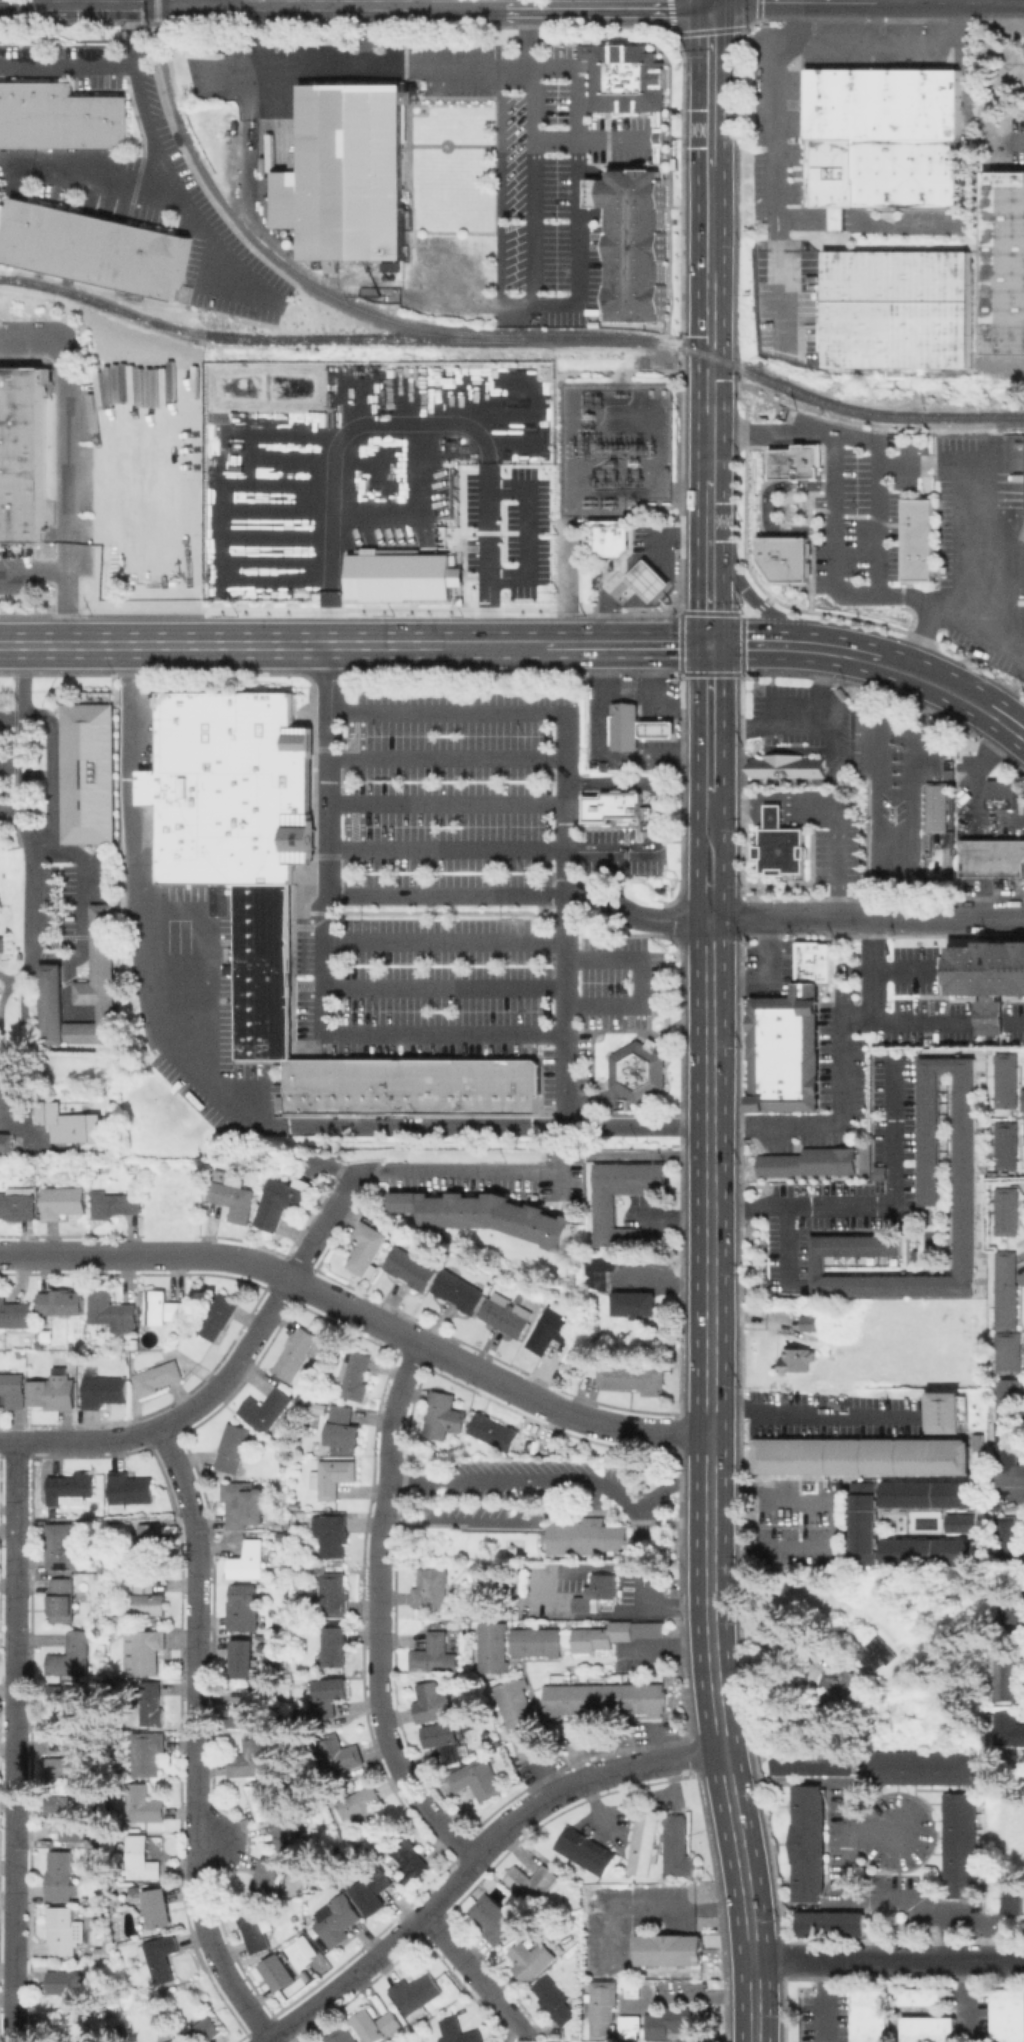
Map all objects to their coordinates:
road: (710, 1)
road: (711, 1)
road: (882, 1)
road: (70, 2)
road: (204, 2)
road: (442, 2)
road: (523, 2)
road: (832, 2)
traffic signals: (711, 3)
road: (989, 3)
road: (355, 4)
road: (367, 35)
road: (887, 42)
road: (66, 62)
road: (366, 66)
building: (627, 79)
road: (711, 84)
building: (59, 116)
road: (1021, 134)
road: (587, 137)
building: (883, 138)
road: (778, 166)
building: (349, 175)
road: (579, 184)
road: (172, 185)
building: (596, 195)
road: (532, 198)
road: (710, 217)
building: (639, 243)
railway: (262, 247)
building: (93, 248)
building: (1005, 264)
building: (389, 267)
building: (897, 308)
railway: (351, 339)
road: (709, 340)
road: (128, 346)
railway: (924, 372)
railway: (949, 386)
railway: (862, 410)
road: (71, 423)
railway: (1015, 426)
road: (406, 438)
building: (894, 440)
road: (709, 446)
power substation: (614, 450)
building: (22, 454)
building: (792, 460)
road: (930, 465)
road: (765, 508)
road: (709, 511)
road: (882, 531)
road: (524, 534)
building: (611, 536)
building: (918, 540)
road: (980, 541)
building: (783, 559)
road: (633, 563)
road: (71, 570)
building: (402, 578)
building: (649, 579)
gas station: (649, 579)
road: (568, 585)
road: (709, 593)
road: (749, 595)
road: (928, 608)
road: (977, 635)
road: (623, 644)
traffic signals: (709, 644)
road: (269, 645)
road: (874, 646)
road: (865, 671)
road: (21, 677)
road: (652, 677)
road: (447, 712)
road: (709, 718)
road: (791, 722)
building: (626, 726)
building: (658, 728)
road: (1019, 732)
road: (598, 755)
road: (446, 758)
building: (789, 766)
road: (981, 767)
road: (328, 770)
building: (89, 773)
road: (907, 783)
road: (641, 784)
building: (230, 786)
building: (1001, 794)
road: (773, 800)
road: (446, 803)
building: (610, 805)
building: (938, 805)
road: (792, 817)
road: (708, 831)
road: (45, 833)
building: (779, 846)
road: (491, 850)
building: (992, 857)
road: (836, 864)
road: (446, 894)
parking lot: (466, 894)
road: (708, 894)
building: (219, 898)
road: (79, 908)
road: (634, 914)
road: (865, 917)
building: (263, 918)
road: (29, 920)
road: (443, 941)
building: (263, 962)
building: (813, 962)
road: (877, 968)
road: (904, 970)
building: (947, 970)
building: (990, 970)
building: (263, 976)
road: (768, 980)
road: (640, 982)
road: (443, 987)
building: (84, 990)
road: (564, 990)
building: (263, 991)
building: (263, 1006)
building: (992, 1016)
road: (992, 1019)
road: (1015, 1020)
building: (263, 1021)
parking lot: (209, 1029)
road: (374, 1033)
building: (263, 1043)
building: (784, 1049)
road: (175, 1056)
road: (839, 1067)
building: (636, 1068)
building: (1005, 1080)
building: (402, 1084)
building: (477, 1084)
building: (306, 1085)
building: (336, 1085)
building: (351, 1085)
building: (365, 1085)
building: (379, 1085)
building: (1022, 1100)
building: (79, 1126)
building: (5, 1141)
building: (1004, 1147)
building: (810, 1163)
road: (458, 1170)
building: (234, 1195)
building: (922, 1198)
building: (64, 1201)
building: (283, 1202)
building: (18, 1203)
building: (116, 1204)
road: (873, 1206)
building: (604, 1209)
building: (1005, 1211)
building: (487, 1214)
building: (369, 1247)
road: (787, 1247)
building: (412, 1268)
building: (599, 1273)
building: (460, 1290)
building: (1004, 1290)
building: (63, 1302)
building: (634, 1304)
building: (163, 1307)
building: (112, 1311)
building: (15, 1312)
road: (361, 1312)
building: (219, 1315)
building: (506, 1317)
building: (812, 1321)
building: (553, 1330)
building: (297, 1352)
building: (322, 1352)
building: (1007, 1352)
building: (799, 1358)
building: (356, 1375)
building: (157, 1377)
road: (227, 1378)
building: (633, 1378)
building: (14, 1389)
building: (103, 1391)
building: (53, 1393)
building: (320, 1409)
building: (268, 1410)
road: (810, 1411)
building: (946, 1411)
building: (444, 1415)
parking lot: (828, 1415)
building: (344, 1431)
building: (495, 1431)
building: (1009, 1431)
building: (233, 1447)
building: (864, 1455)
road: (555, 1476)
building: (333, 1477)
road: (710, 1481)
building: (72, 1488)
building: (130, 1488)
building: (930, 1493)
road: (1017, 1493)
building: (243, 1503)
building: (297, 1503)
road: (771, 1503)
road: (475, 1519)
building: (865, 1521)
building: (963, 1522)
building: (285, 1534)
building: (332, 1534)
building: (585, 1538)
building: (151, 1542)
building: (1006, 1542)
building: (66, 1543)
road: (771, 1544)
building: (930, 1550)
building: (251, 1562)
road: (571, 1567)
building: (431, 1587)
building: (597, 1591)
building: (332, 1595)
building: (148, 1597)
building: (61, 1601)
building: (244, 1608)
road: (380, 1613)
building: (121, 1616)
building: (615, 1634)
building: (538, 1642)
building: (336, 1646)
building: (494, 1647)
building: (144, 1650)
building: (877, 1652)
building: (435, 1654)
building: (73, 1655)
building: (244, 1659)
building: (1004, 1677)
building: (327, 1695)
building: (606, 1699)
building: (435, 1702)
building: (152, 1703)
building: (63, 1708)
building: (249, 1710)
building: (521, 1717)
building: (1009, 1729)
building: (445, 1740)
road: (17, 1741)
road: (196, 1741)
building: (147, 1753)
building: (339, 1754)
building: (254, 1758)
building: (71, 1761)
building: (815, 1761)
building: (924, 1767)
building: (478, 1779)
building: (264, 1800)
building: (143, 1804)
building: (362, 1805)
road: (595, 1808)
building: (69, 1814)
building: (288, 1835)
road: (207, 1841)
building: (643, 1841)
building: (811, 1842)
building: (961, 1844)
building: (677, 1848)
building: (585, 1850)
building: (408, 1854)
building: (141, 1859)
road: (476, 1861)
building: (268, 1875)
building: (60, 1876)
building: (532, 1883)
building: (373, 1890)
road: (872, 1894)
building: (1013, 1899)
building: (158, 1908)
road: (656, 1909)
building: (493, 1918)
building: (337, 1919)
building: (833, 1922)
building: (253, 1928)
building: (63, 1930)
building: (309, 1941)
building: (106, 1947)
building: (671, 1949)
building: (161, 1957)
building: (531, 1959)
road: (888, 1959)
building: (279, 1972)
road: (478, 1977)
building: (70, 1987)
building: (634, 1989)
building: (416, 1992)
building: (920, 1996)
building: (555, 2000)
building: (602, 2007)
building: (869, 2014)
building: (1007, 2015)
building: (668, 2023)
building: (376, 2025)
building: (456, 2028)
building: (927, 2029)
building: (205, 2030)
building: (341, 2035)
building: (174, 2040)

